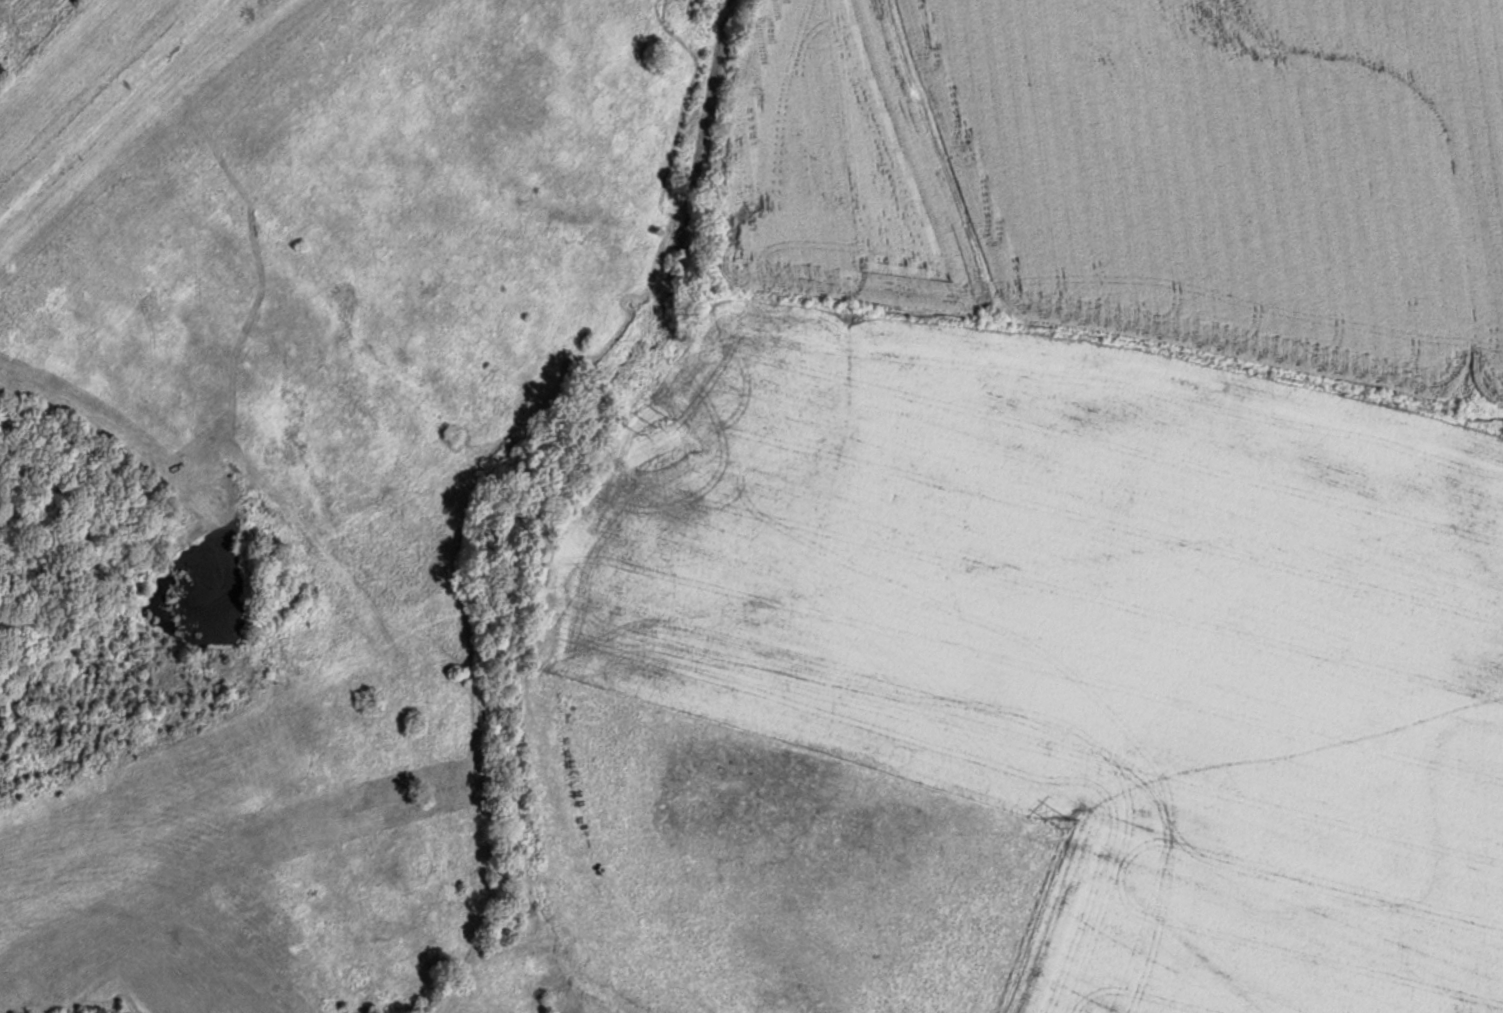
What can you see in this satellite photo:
road: (111, 102)
power tower: (650, 417)
power tower: (1063, 822)

